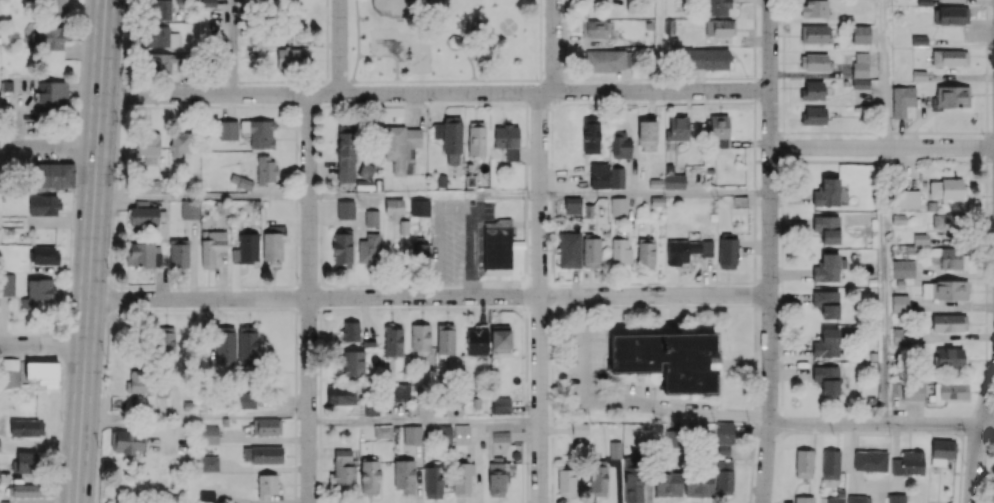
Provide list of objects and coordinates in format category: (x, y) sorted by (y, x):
building: (58, 5)
building: (718, 7)
park: (426, 8)
building: (814, 8)
building: (161, 9)
building: (951, 15)
building: (720, 27)
building: (593, 28)
building: (815, 33)
building: (861, 34)
building: (51, 37)
building: (162, 37)
park: (443, 40)
road: (661, 45)
road: (541, 46)
road: (232, 47)
road: (340, 47)
road: (358, 47)
road: (480, 47)
building: (291, 57)
building: (949, 57)
building: (705, 58)
building: (608, 59)
building: (814, 62)
building: (164, 63)
road: (471, 63)
building: (860, 64)
road: (885, 73)
road: (444, 81)
building: (860, 83)
building: (811, 90)
building: (53, 93)
road: (436, 93)
building: (952, 96)
building: (902, 100)
building: (813, 115)
building: (677, 127)
building: (227, 130)
building: (718, 130)
building: (259, 132)
building: (647, 132)
building: (590, 134)
building: (450, 138)
building: (476, 138)
building: (507, 140)
building: (179, 144)
building: (620, 145)
road: (49, 146)
building: (148, 146)
building: (402, 147)
road: (882, 147)
building: (346, 153)
building: (265, 168)
building: (55, 175)
building: (617, 177)
building: (599, 179)
building: (241, 181)
building: (674, 181)
building: (151, 185)
building: (945, 189)
building: (826, 193)
road: (655, 195)
road: (202, 196)
road: (425, 196)
building: (907, 198)
building: (43, 204)
building: (572, 205)
building: (618, 206)
building: (393, 207)
building: (419, 207)
building: (189, 209)
building: (345, 209)
building: (143, 213)
building: (371, 218)
building: (945, 221)
building: (827, 228)
building: (920, 238)
building: (273, 242)
building: (212, 247)
building: (497, 247)
building: (246, 248)
building: (369, 248)
building: (569, 249)
building: (342, 250)
road: (540, 250)
building: (687, 250)
road: (90, 251)
building: (591, 251)
building: (620, 251)
road: (770, 251)
building: (179, 252)
building: (419, 252)
building: (645, 252)
building: (727, 252)
building: (140, 254)
building: (44, 255)
building: (946, 257)
building: (828, 267)
building: (903, 268)
building: (7, 284)
road: (884, 285)
building: (944, 290)
building: (38, 294)
road: (429, 296)
road: (309, 298)
building: (826, 303)
building: (900, 303)
road: (45, 321)
road: (123, 321)
building: (949, 322)
building: (350, 330)
road: (82, 332)
building: (901, 336)
building: (420, 338)
building: (445, 339)
building: (500, 339)
building: (476, 340)
building: (392, 341)
road: (43, 343)
building: (247, 343)
building: (827, 343)
building: (225, 344)
building: (949, 358)
building: (668, 359)
building: (352, 362)
building: (41, 371)
building: (10, 378)
building: (826, 378)
building: (138, 381)
building: (401, 391)
building: (913, 391)
building: (951, 391)
building: (341, 394)
building: (246, 400)
road: (631, 401)
building: (501, 405)
road: (195, 414)
road: (424, 422)
road: (881, 424)
building: (265, 426)
building: (26, 427)
building: (383, 431)
building: (579, 432)
building: (725, 432)
building: (209, 434)
building: (412, 434)
building: (454, 434)
building: (500, 436)
building: (126, 441)
building: (615, 449)
building: (941, 451)
road: (975, 452)
building: (262, 454)
building: (870, 460)
building: (26, 462)
building: (209, 463)
building: (803, 463)
building: (908, 463)
building: (830, 464)
building: (343, 470)
building: (404, 475)
building: (369, 476)
building: (724, 476)
building: (598, 477)
building: (462, 479)
building: (496, 479)
building: (433, 480)
building: (632, 480)
building: (566, 482)
building: (667, 482)
building: (698, 483)
building: (267, 484)
building: (25, 490)
building: (206, 496)
building: (837, 497)
building: (896, 498)
building: (804, 499)
building: (858, 499)

